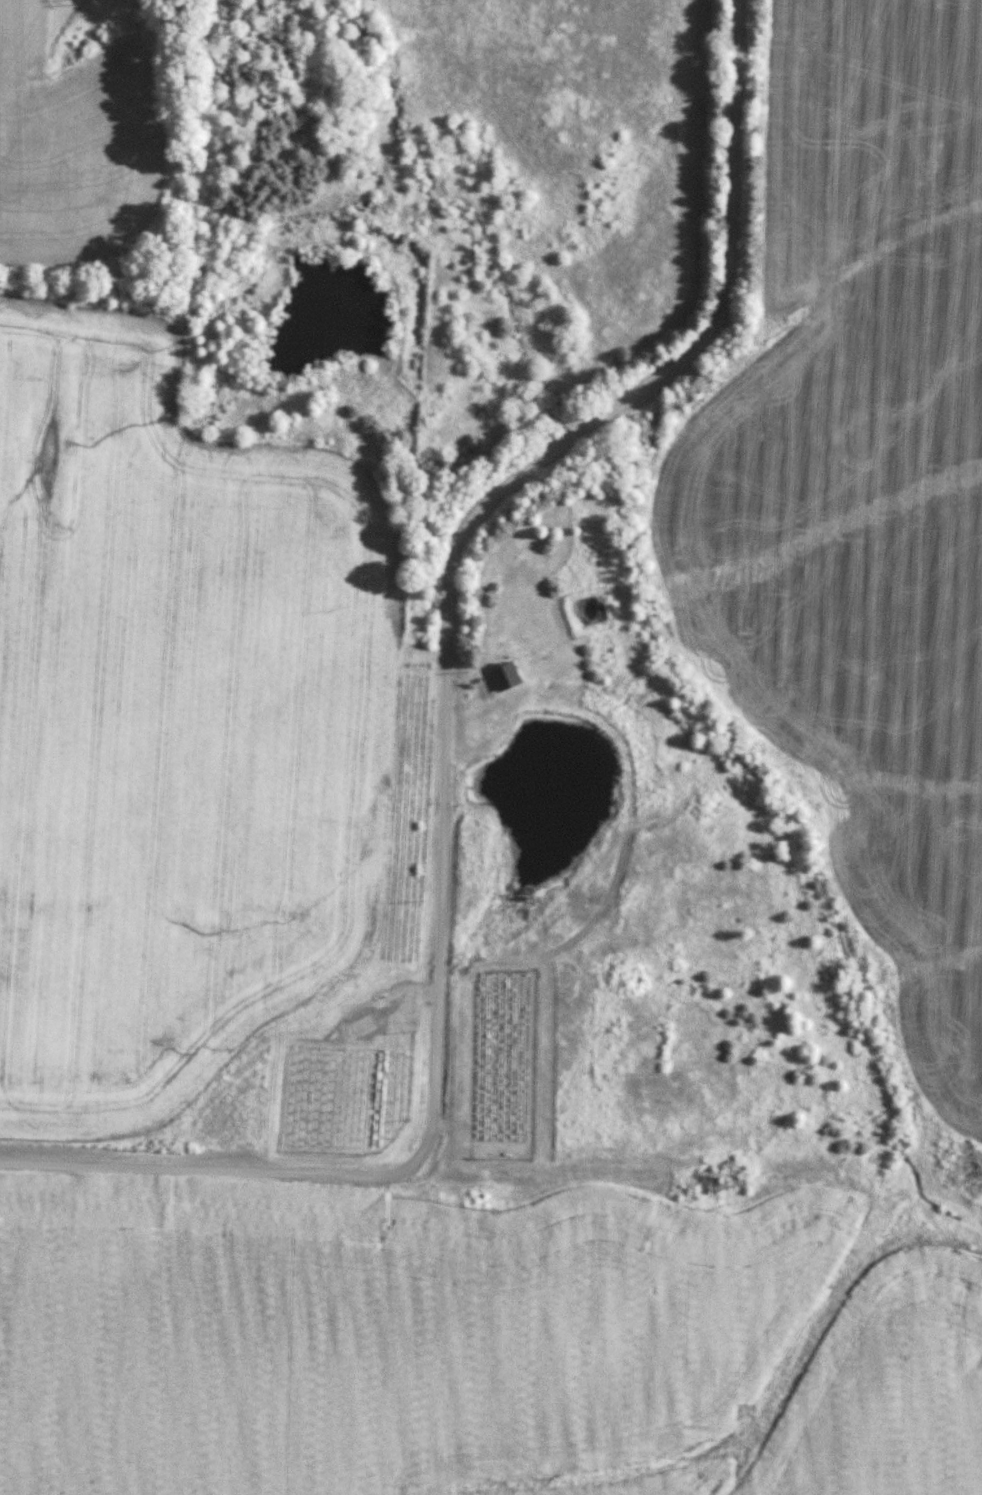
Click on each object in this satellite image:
road: (448, 730)

